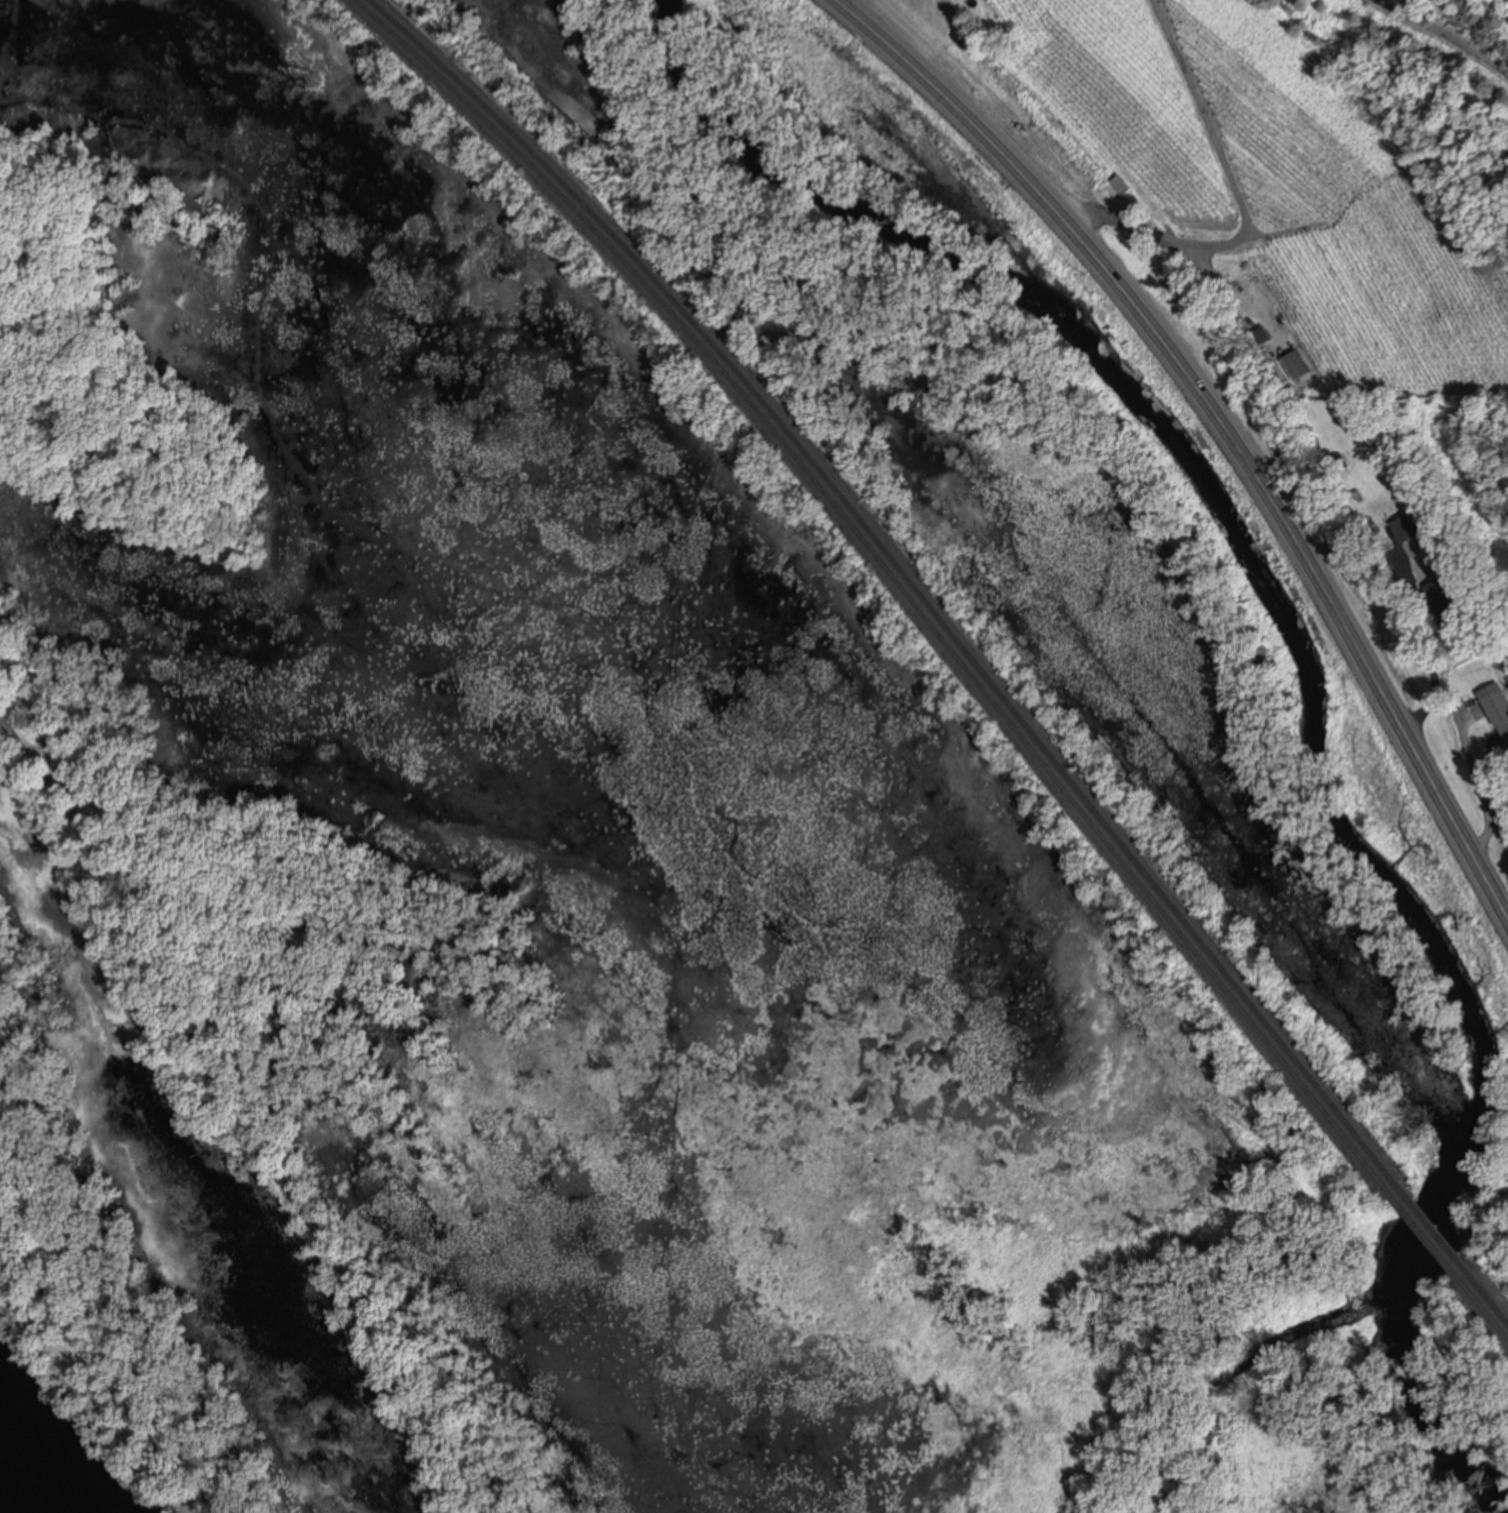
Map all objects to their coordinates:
road: (1443, 36)
road: (1237, 203)
road: (1224, 419)
railway: (903, 572)
railway: (893, 574)
road: (1425, 651)
road: (1478, 779)
road: (239, 1115)
railway: (1430, 1225)
railway: (1422, 1231)
railway: (1487, 1297)
railway: (1483, 1307)
road: (112, 1370)

